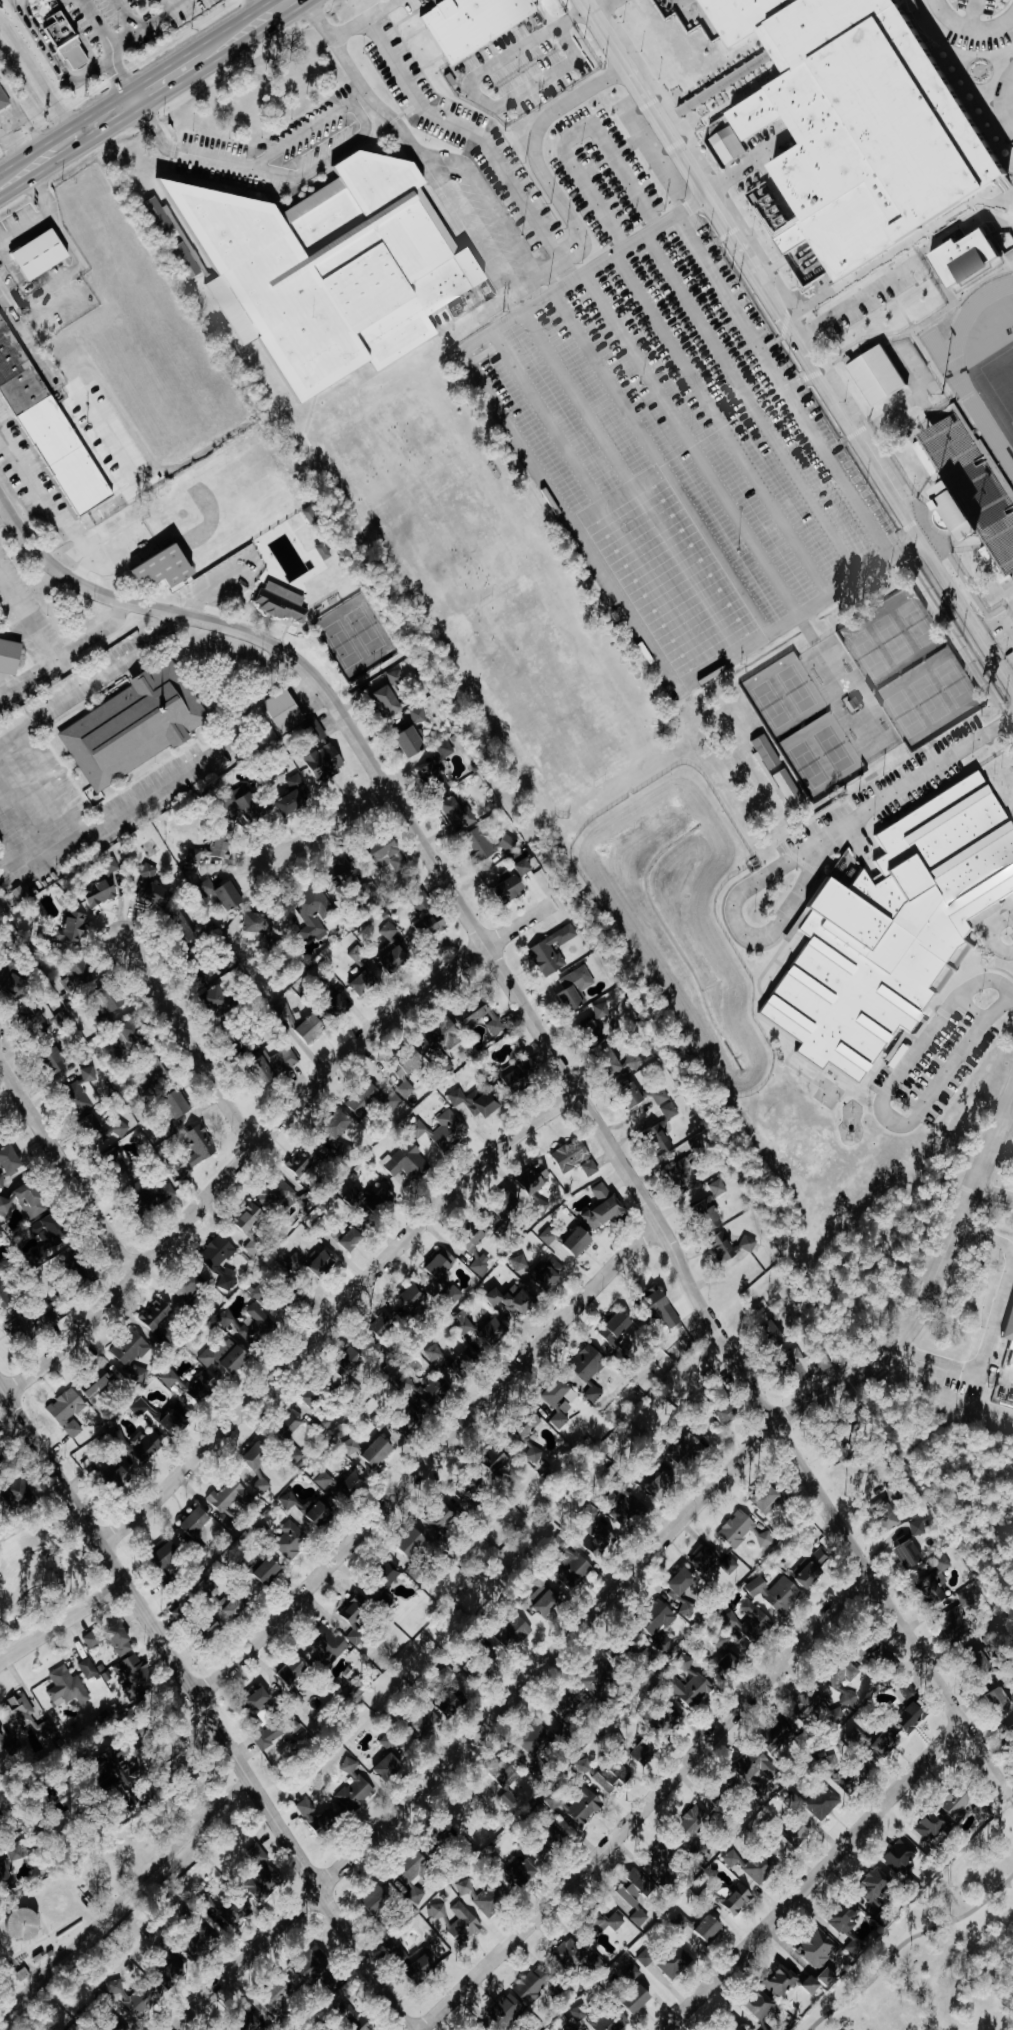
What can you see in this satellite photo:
road: (259, 2)
road: (169, 4)
road: (595, 5)
road: (379, 8)
road: (293, 12)
road: (700, 12)
road: (131, 14)
road: (267, 14)
building: (471, 23)
building: (89, 25)
road: (144, 26)
road: (966, 32)
road: (254, 37)
building: (68, 39)
road: (35, 70)
road: (75, 77)
road: (359, 82)
road: (133, 85)
road: (477, 96)
building: (4, 98)
road: (134, 113)
road: (450, 122)
building: (860, 123)
road: (364, 124)
parking lot: (460, 134)
road: (575, 134)
road: (79, 136)
road: (188, 151)
road: (29, 167)
parking lot: (601, 174)
road: (5, 187)
road: (18, 189)
road: (487, 201)
road: (564, 208)
building: (154, 215)
road: (43, 220)
road: (462, 227)
building: (44, 254)
building: (964, 257)
building: (181, 260)
building: (328, 267)
road: (853, 300)
road: (513, 306)
road: (797, 344)
building: (873, 375)
track: (954, 375)
park: (1001, 377)
road: (798, 380)
road: (781, 386)
road: (905, 404)
stadium: (968, 411)
road: (79, 419)
building: (47, 422)
parking lot: (679, 451)
road: (38, 477)
building: (968, 489)
road: (5, 514)
building: (313, 515)
road: (565, 519)
road: (58, 540)
building: (325, 551)
building: (171, 567)
road: (397, 584)
park: (488, 593)
building: (284, 602)
building: (11, 656)
road: (53, 656)
road: (379, 667)
park: (910, 668)
building: (398, 677)
road: (94, 683)
building: (390, 701)
building: (852, 703)
building: (287, 711)
building: (419, 715)
building: (136, 726)
park: (801, 726)
building: (316, 732)
building: (413, 742)
building: (446, 749)
building: (326, 762)
building: (433, 774)
road: (53, 779)
road: (913, 786)
road: (155, 789)
building: (783, 789)
building: (297, 795)
building: (253, 808)
building: (459, 812)
road: (327, 824)
building: (489, 843)
building: (211, 851)
building: (392, 854)
building: (518, 858)
building: (526, 867)
building: (148, 872)
road: (448, 887)
building: (512, 888)
building: (101, 894)
building: (224, 894)
building: (160, 895)
building: (315, 915)
building: (429, 918)
building: (259, 923)
building: (891, 927)
building: (74, 928)
building: (389, 930)
road: (749, 930)
road: (994, 932)
building: (393, 957)
building: (548, 958)
building: (79, 978)
building: (368, 979)
building: (17, 988)
building: (577, 988)
road: (1010, 994)
building: (217, 1001)
building: (117, 1005)
building: (340, 1005)
building: (602, 1011)
building: (53, 1020)
building: (313, 1028)
building: (136, 1034)
building: (450, 1035)
road: (189, 1045)
building: (892, 1054)
building: (622, 1060)
building: (57, 1061)
building: (276, 1065)
building: (409, 1070)
building: (519, 1075)
building: (85, 1090)
building: (634, 1092)
building: (662, 1096)
building: (477, 1101)
building: (376, 1102)
road: (882, 1108)
road: (1006, 1119)
building: (340, 1124)
building: (106, 1127)
building: (444, 1130)
road: (264, 1134)
building: (0, 1138)
building: (198, 1149)
building: (572, 1154)
building: (303, 1160)
building: (410, 1161)
building: (10, 1163)
building: (592, 1167)
road: (65, 1169)
building: (686, 1171)
building: (534, 1181)
building: (155, 1191)
road: (992, 1194)
building: (27, 1200)
building: (384, 1202)
building: (711, 1203)
building: (271, 1206)
building: (593, 1223)
building: (53, 1232)
building: (1, 1233)
building: (479, 1234)
building: (550, 1236)
road: (989, 1236)
building: (352, 1237)
building: (737, 1248)
building: (219, 1251)
building: (311, 1263)
building: (444, 1264)
building: (483, 1264)
building: (522, 1264)
building: (551, 1272)
building: (192, 1288)
building: (260, 1292)
building: (456, 1292)
building: (413, 1296)
building: (516, 1299)
building: (667, 1309)
road: (333, 1312)
building: (157, 1313)
building: (47, 1318)
building: (386, 1322)
building: (465, 1322)
building: (255, 1325)
building: (619, 1326)
building: (1008, 1326)
building: (20, 1327)
building: (495, 1331)
building: (773, 1331)
building: (132, 1347)
building: (434, 1352)
building: (227, 1355)
road: (983, 1358)
building: (354, 1360)
building: (803, 1361)
building: (590, 1362)
building: (465, 1364)
building: (139, 1373)
building: (170, 1378)
building: (102, 1385)
building: (204, 1387)
building: (435, 1393)
building: (595, 1393)
building: (722, 1394)
building: (314, 1397)
building: (561, 1400)
building: (145, 1408)
building: (70, 1410)
building: (731, 1412)
building: (177, 1421)
building: (325, 1421)
building: (292, 1424)
building: (147, 1446)
building: (352, 1447)
building: (689, 1447)
building: (380, 1451)
road: (427, 1458)
building: (499, 1459)
building: (1, 1462)
building: (260, 1465)
building: (124, 1473)
building: (344, 1484)
building: (665, 1485)
building: (897, 1492)
building: (23, 1495)
building: (228, 1495)
building: (768, 1499)
road: (695, 1501)
building: (310, 1508)
building: (632, 1511)
building: (892, 1518)
building: (198, 1522)
building: (920, 1527)
building: (745, 1530)
building: (292, 1540)
building: (600, 1540)
building: (414, 1542)
building: (911, 1551)
building: (170, 1555)
building: (714, 1562)
building: (813, 1568)
building: (271, 1569)
building: (576, 1571)
building: (935, 1589)
building: (777, 1591)
building: (684, 1592)
building: (546, 1600)
building: (1010, 1605)
building: (237, 1608)
road: (890, 1610)
building: (182, 1613)
park: (1006, 1614)
building: (356, 1616)
building: (660, 1618)
building: (762, 1619)
road: (62, 1620)
building: (216, 1626)
building: (518, 1633)
building: (93, 1639)
building: (121, 1640)
building: (665, 1643)
building: (331, 1647)
building: (880, 1651)
building: (728, 1655)
building: (618, 1656)
building: (648, 1657)
building: (89, 1669)
building: (295, 1669)
building: (475, 1669)
building: (134, 1677)
building: (601, 1681)
building: (690, 1683)
building: (68, 1687)
building: (907, 1689)
building: (844, 1690)
building: (261, 1699)
building: (454, 1699)
building: (1003, 1699)
building: (805, 1703)
building: (568, 1704)
road: (204, 1707)
building: (916, 1711)
building: (27, 1717)
building: (675, 1720)
building: (427, 1723)
building: (2, 1734)
building: (271, 1735)
building: (806, 1738)
building: (536, 1739)
building: (888, 1742)
building: (12, 1746)
building: (648, 1751)
building: (757, 1765)
road: (140, 1766)
building: (125, 1767)
building: (392, 1767)
building: (584, 1767)
park: (1012, 1767)
building: (614, 1777)
building: (843, 1784)
building: (355, 1788)
building: (509, 1799)
road: (642, 1801)
building: (960, 1801)
building: (818, 1803)
building: (582, 1806)
building: (322, 1819)
building: (936, 1826)
building: (0, 1842)
building: (256, 1854)
building: (22, 1855)
building: (902, 1856)
building: (665, 1861)
building: (418, 1866)
building: (5, 1871)
building: (523, 1871)
road: (812, 1877)
road: (135, 1884)
building: (267, 1884)
building: (877, 1885)
building: (417, 1894)
building: (638, 1894)
building: (485, 1897)
building: (378, 1898)
building: (739, 1899)
building: (232, 1911)
building: (439, 1911)
building: (614, 1921)
building: (465, 1923)
building: (26, 1924)
building: (701, 1926)
building: (851, 1929)
road: (905, 1944)
building: (819, 1950)
park: (937, 1952)
building: (580, 1957)
road: (244, 1959)
building: (677, 1962)
building: (316, 1964)
building: (425, 1967)
building: (800, 1982)
building: (534, 1983)
building: (131, 1998)
building: (640, 1998)
building: (763, 2005)
building: (508, 2010)
building: (600, 2018)
building: (356, 2019)
building: (739, 2027)
building: (768, 2029)

